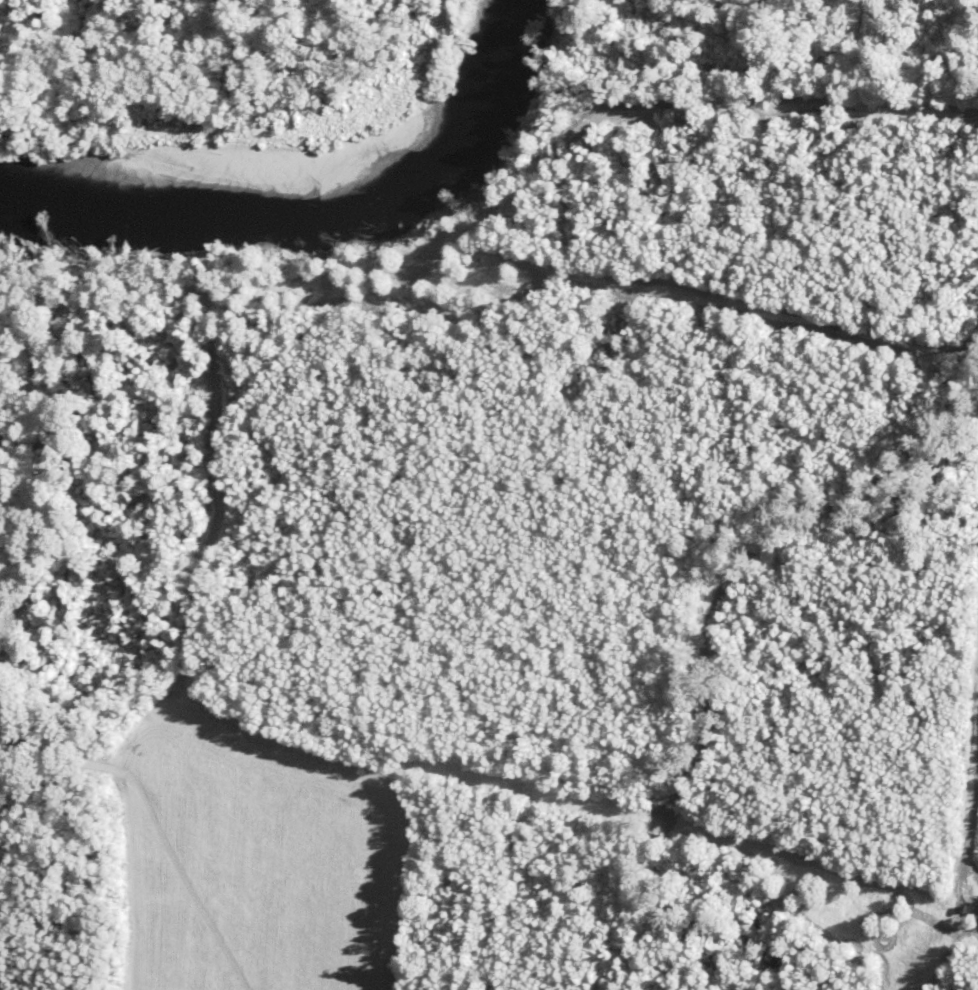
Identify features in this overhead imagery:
river: (300, 169)

